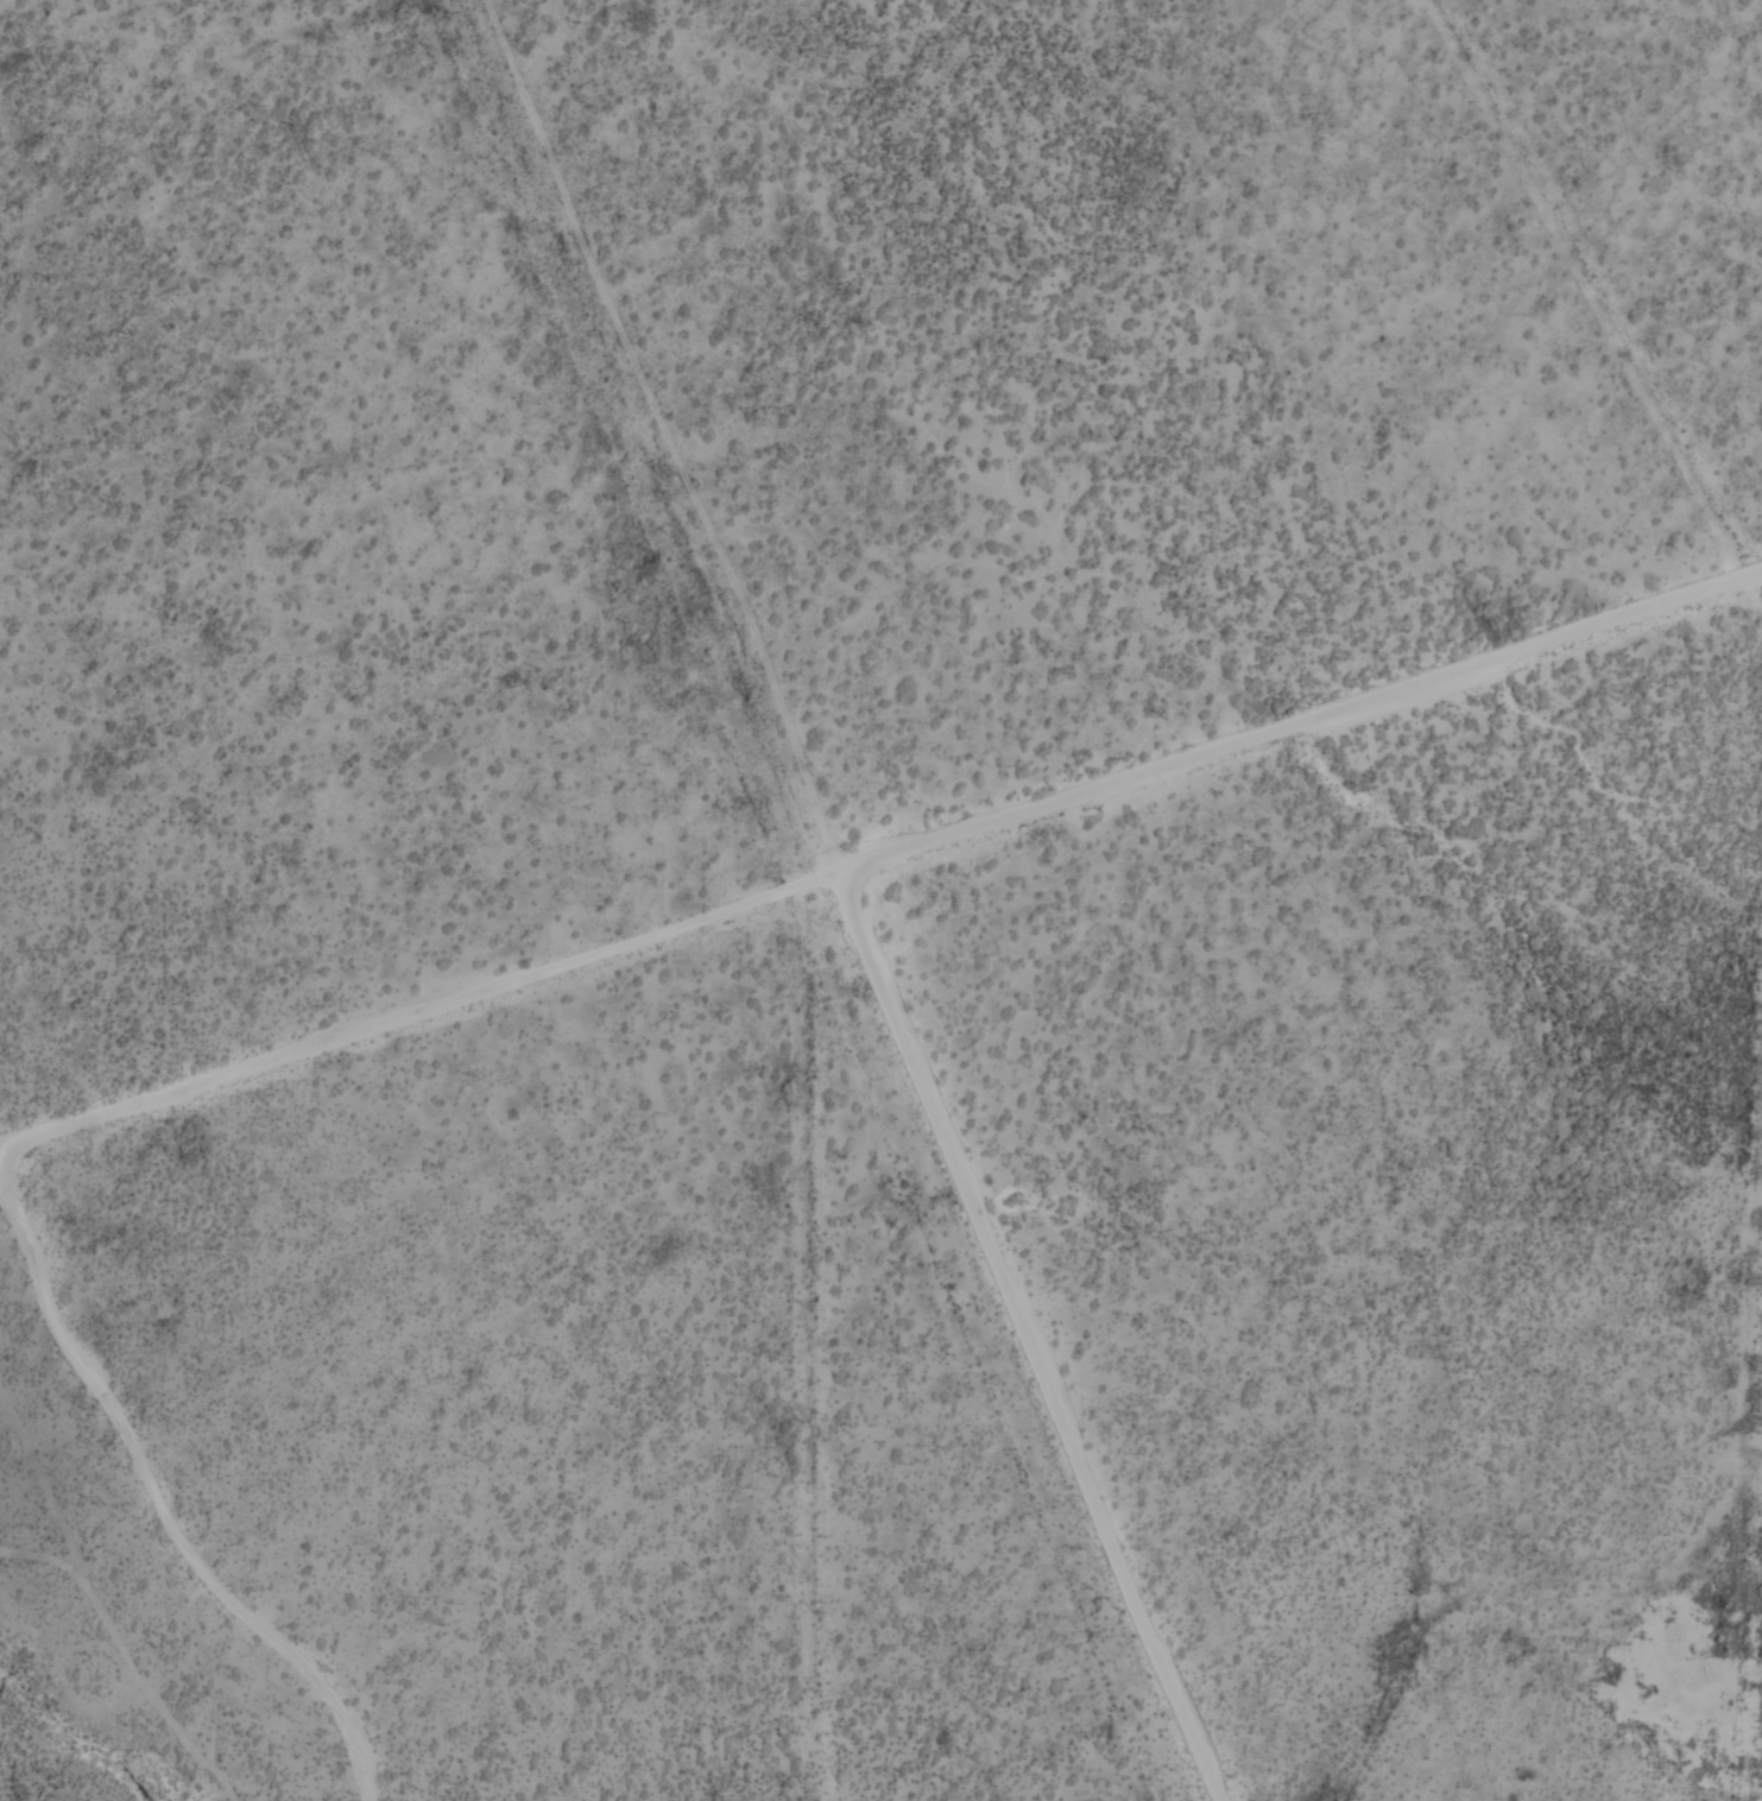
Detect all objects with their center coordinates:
road: (1301, 721)
road: (851, 900)
road: (421, 1012)
road: (160, 1499)
road: (128, 1656)

